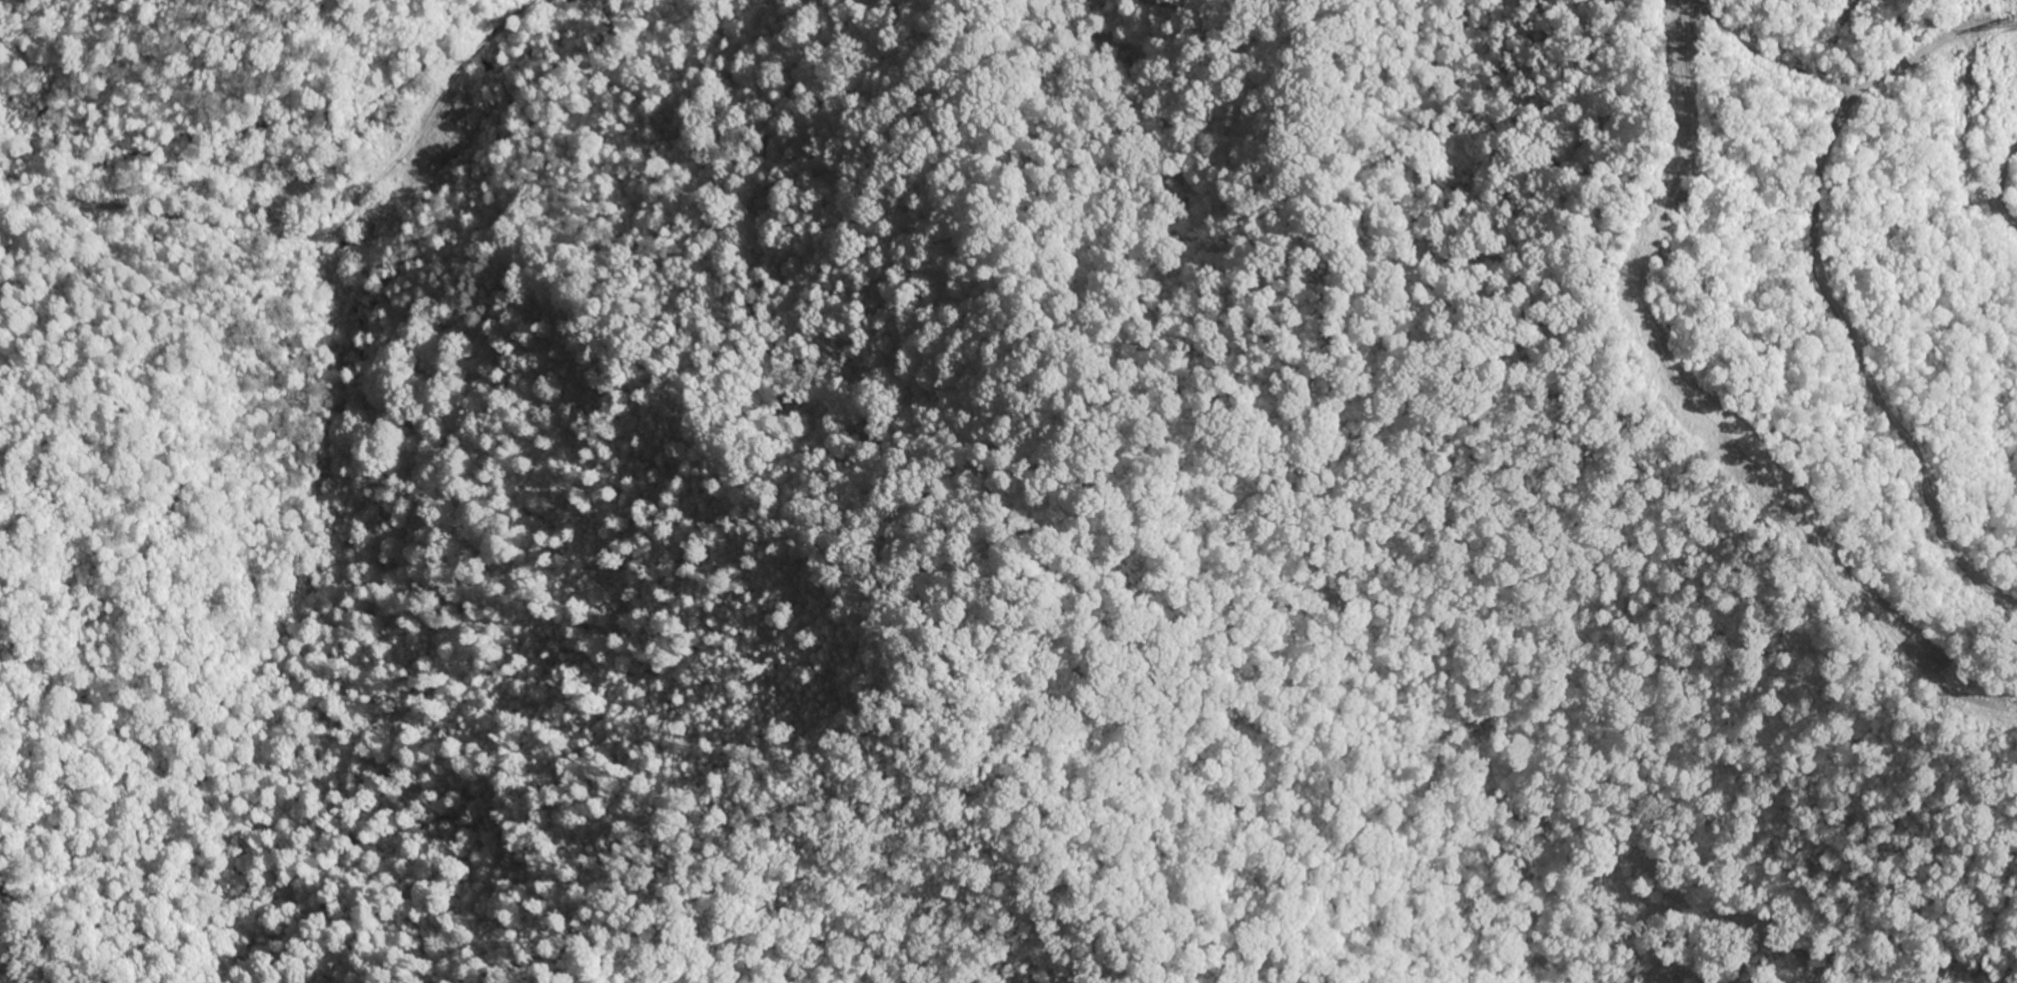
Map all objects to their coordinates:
building: (1929, 661)

